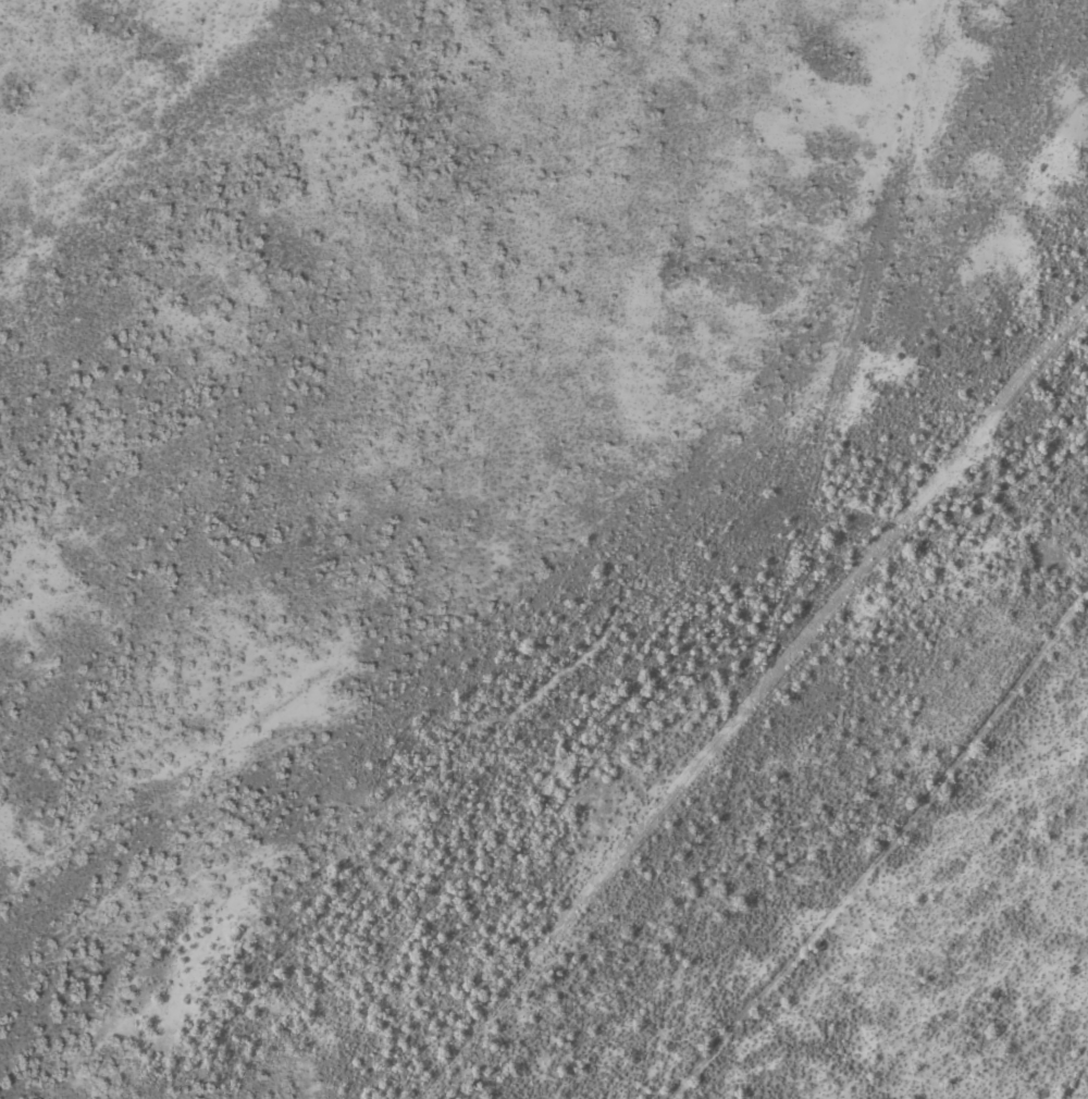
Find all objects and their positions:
road: (889, 850)

